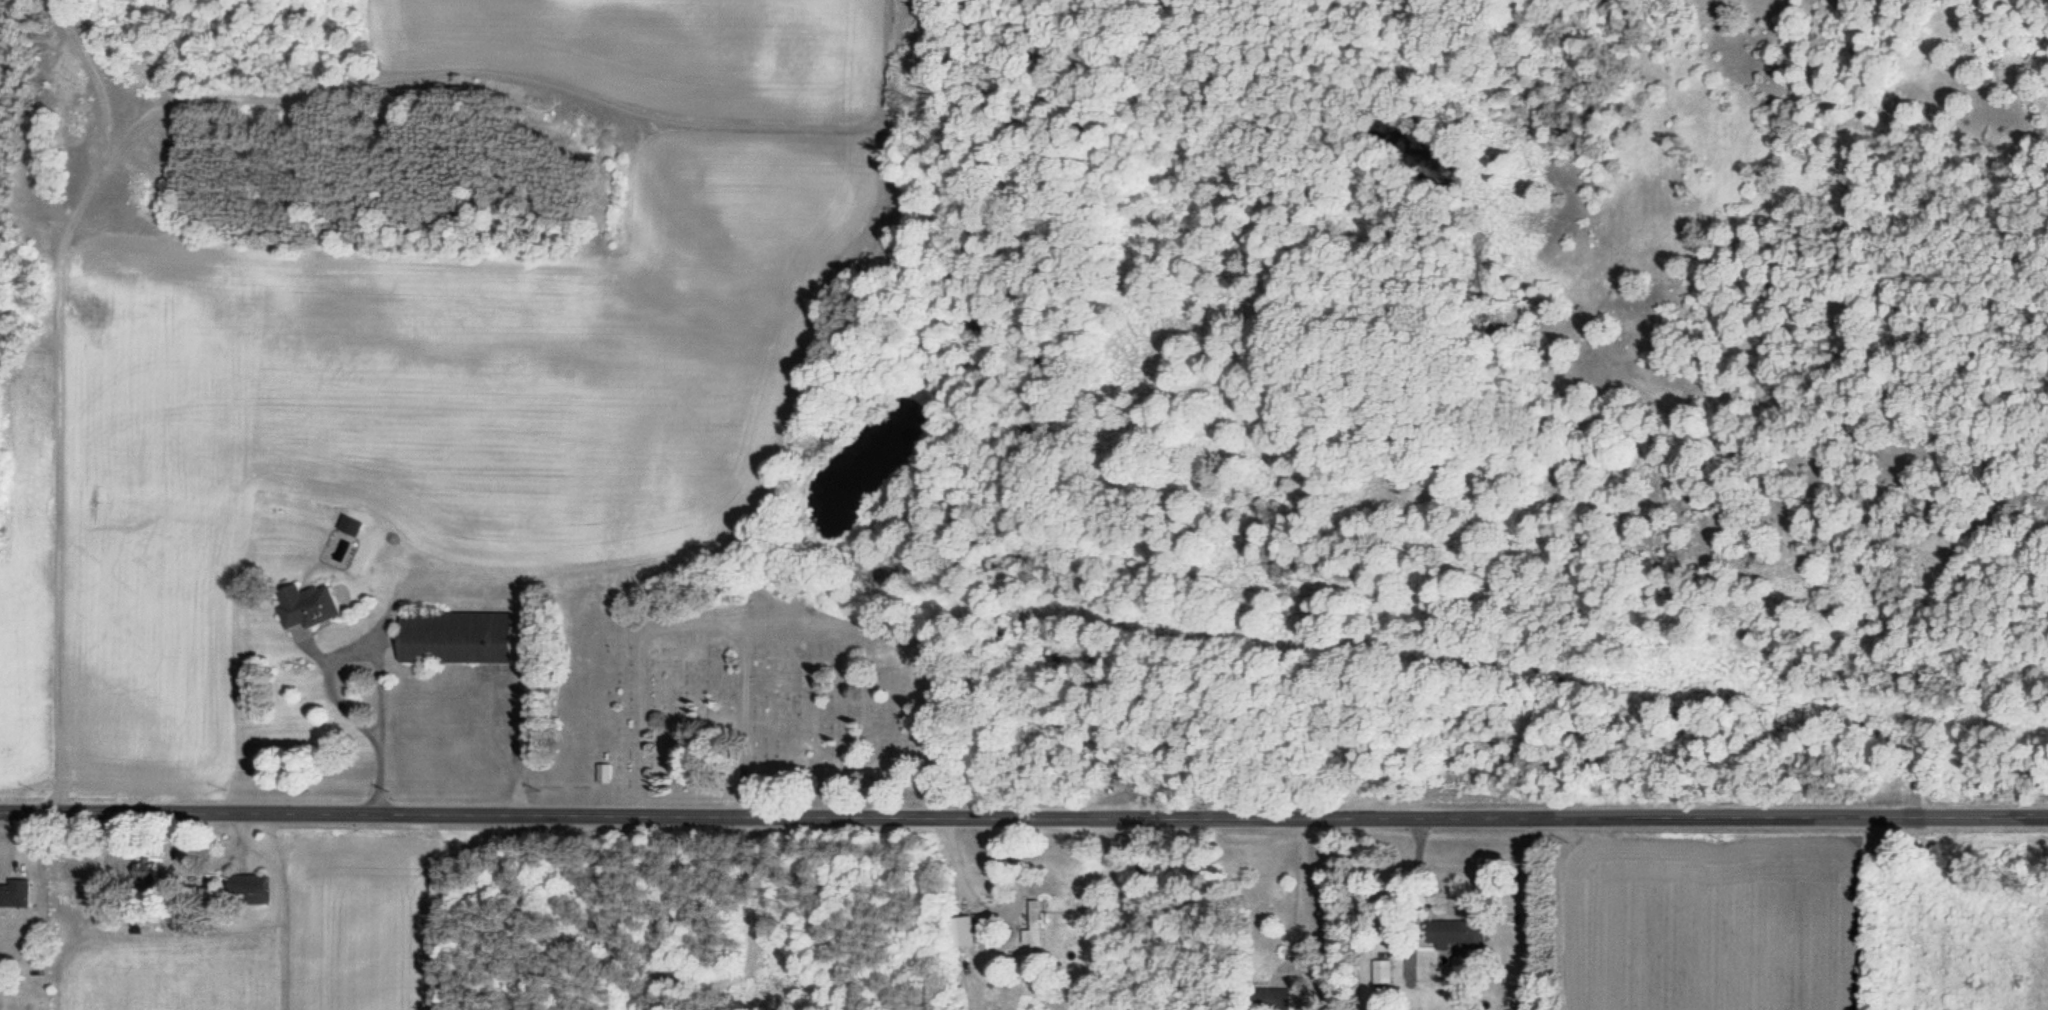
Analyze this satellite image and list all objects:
building: (305, 605)
building: (454, 637)
park: (738, 697)
building: (602, 773)
road: (1023, 818)
building: (247, 887)
building: (14, 893)
building: (1032, 926)
building: (959, 932)
building: (1452, 933)
building: (1269, 999)

